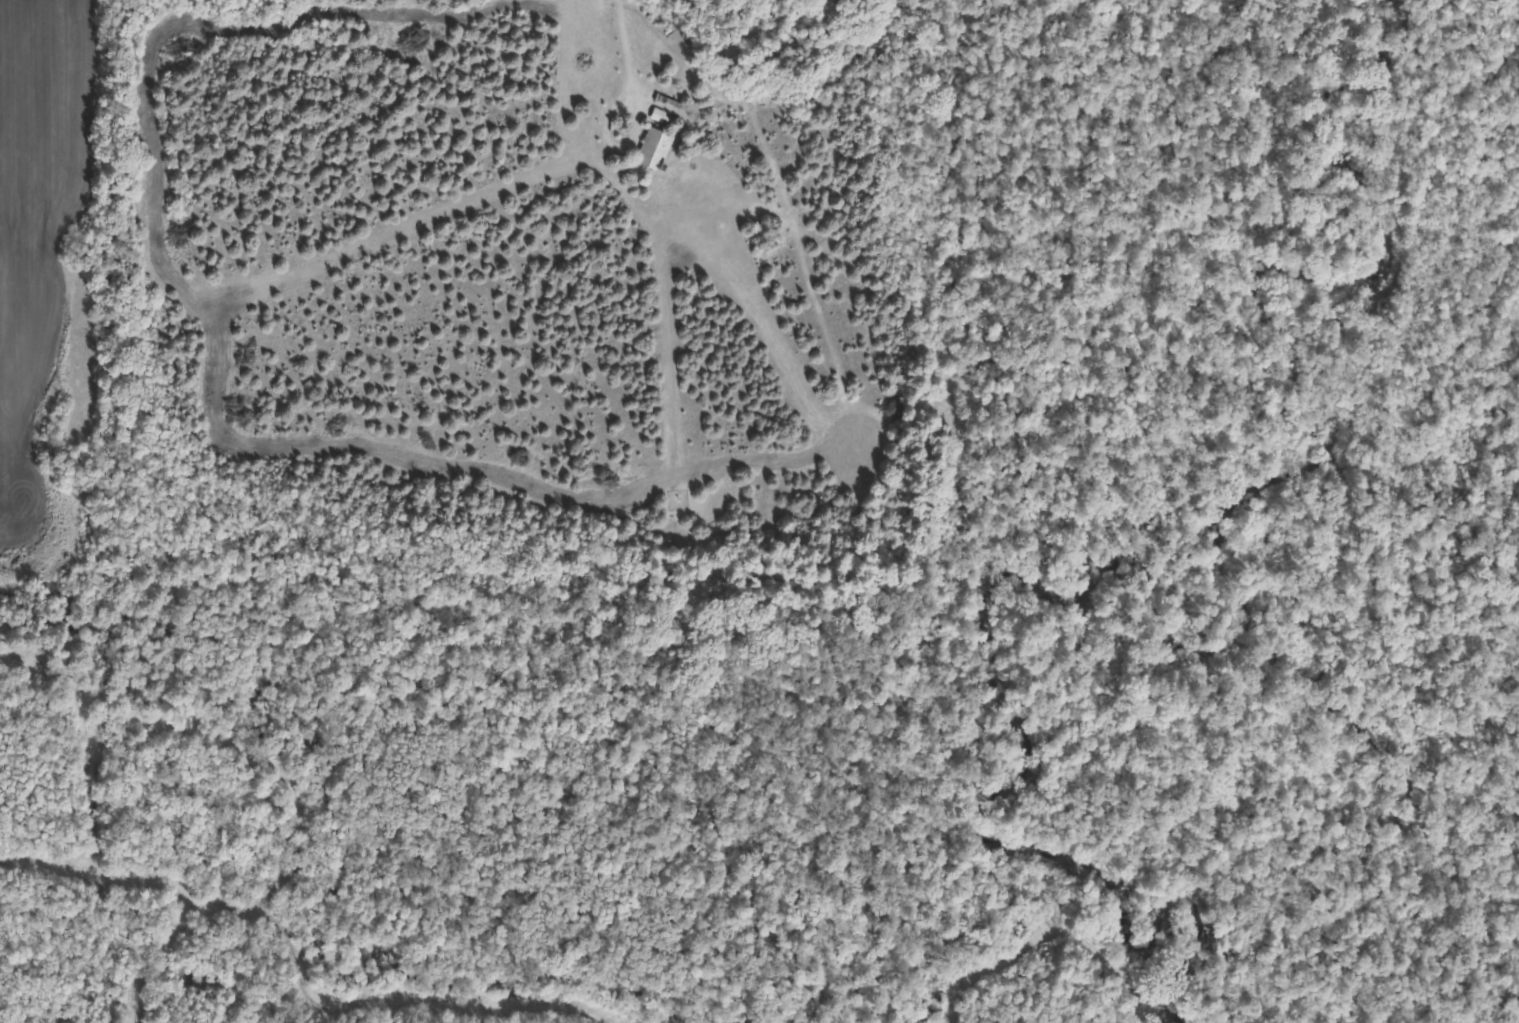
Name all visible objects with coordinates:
building: (655, 152)

